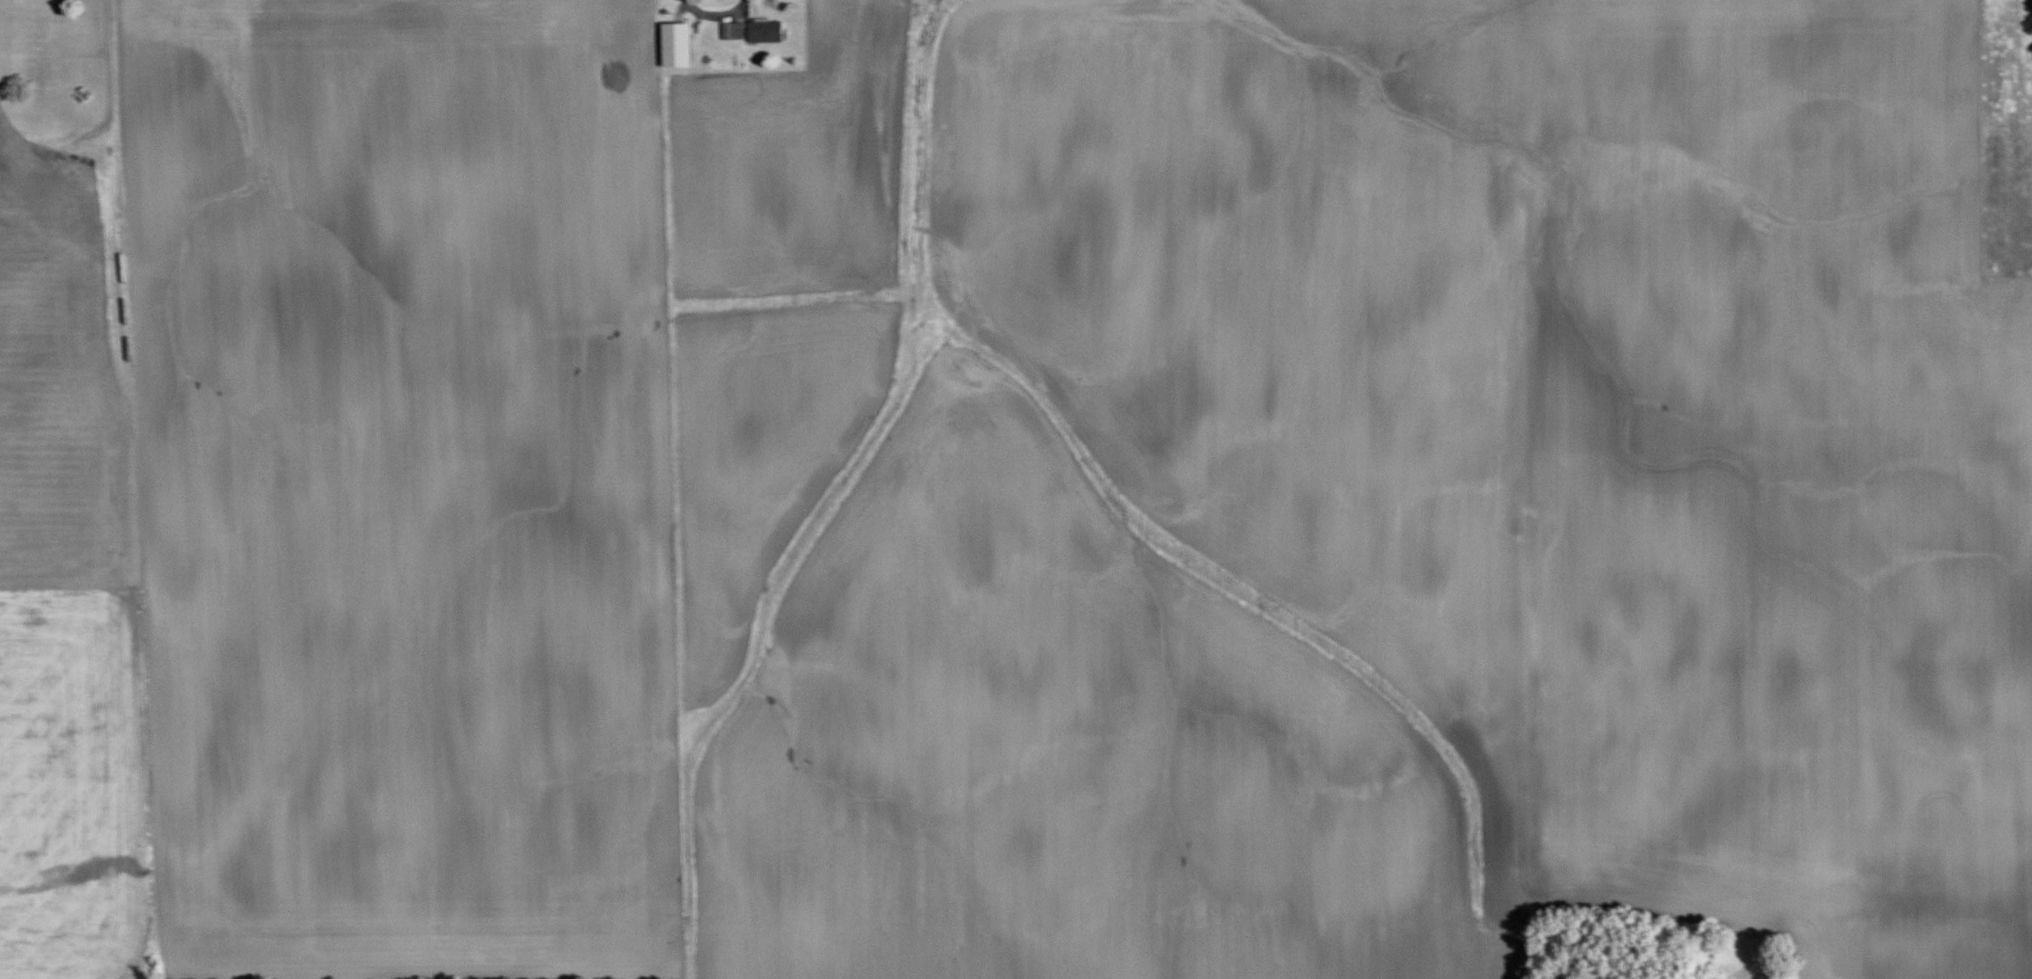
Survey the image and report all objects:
building: (734, 30)
building: (767, 30)
building: (677, 44)
building: (16, 140)

